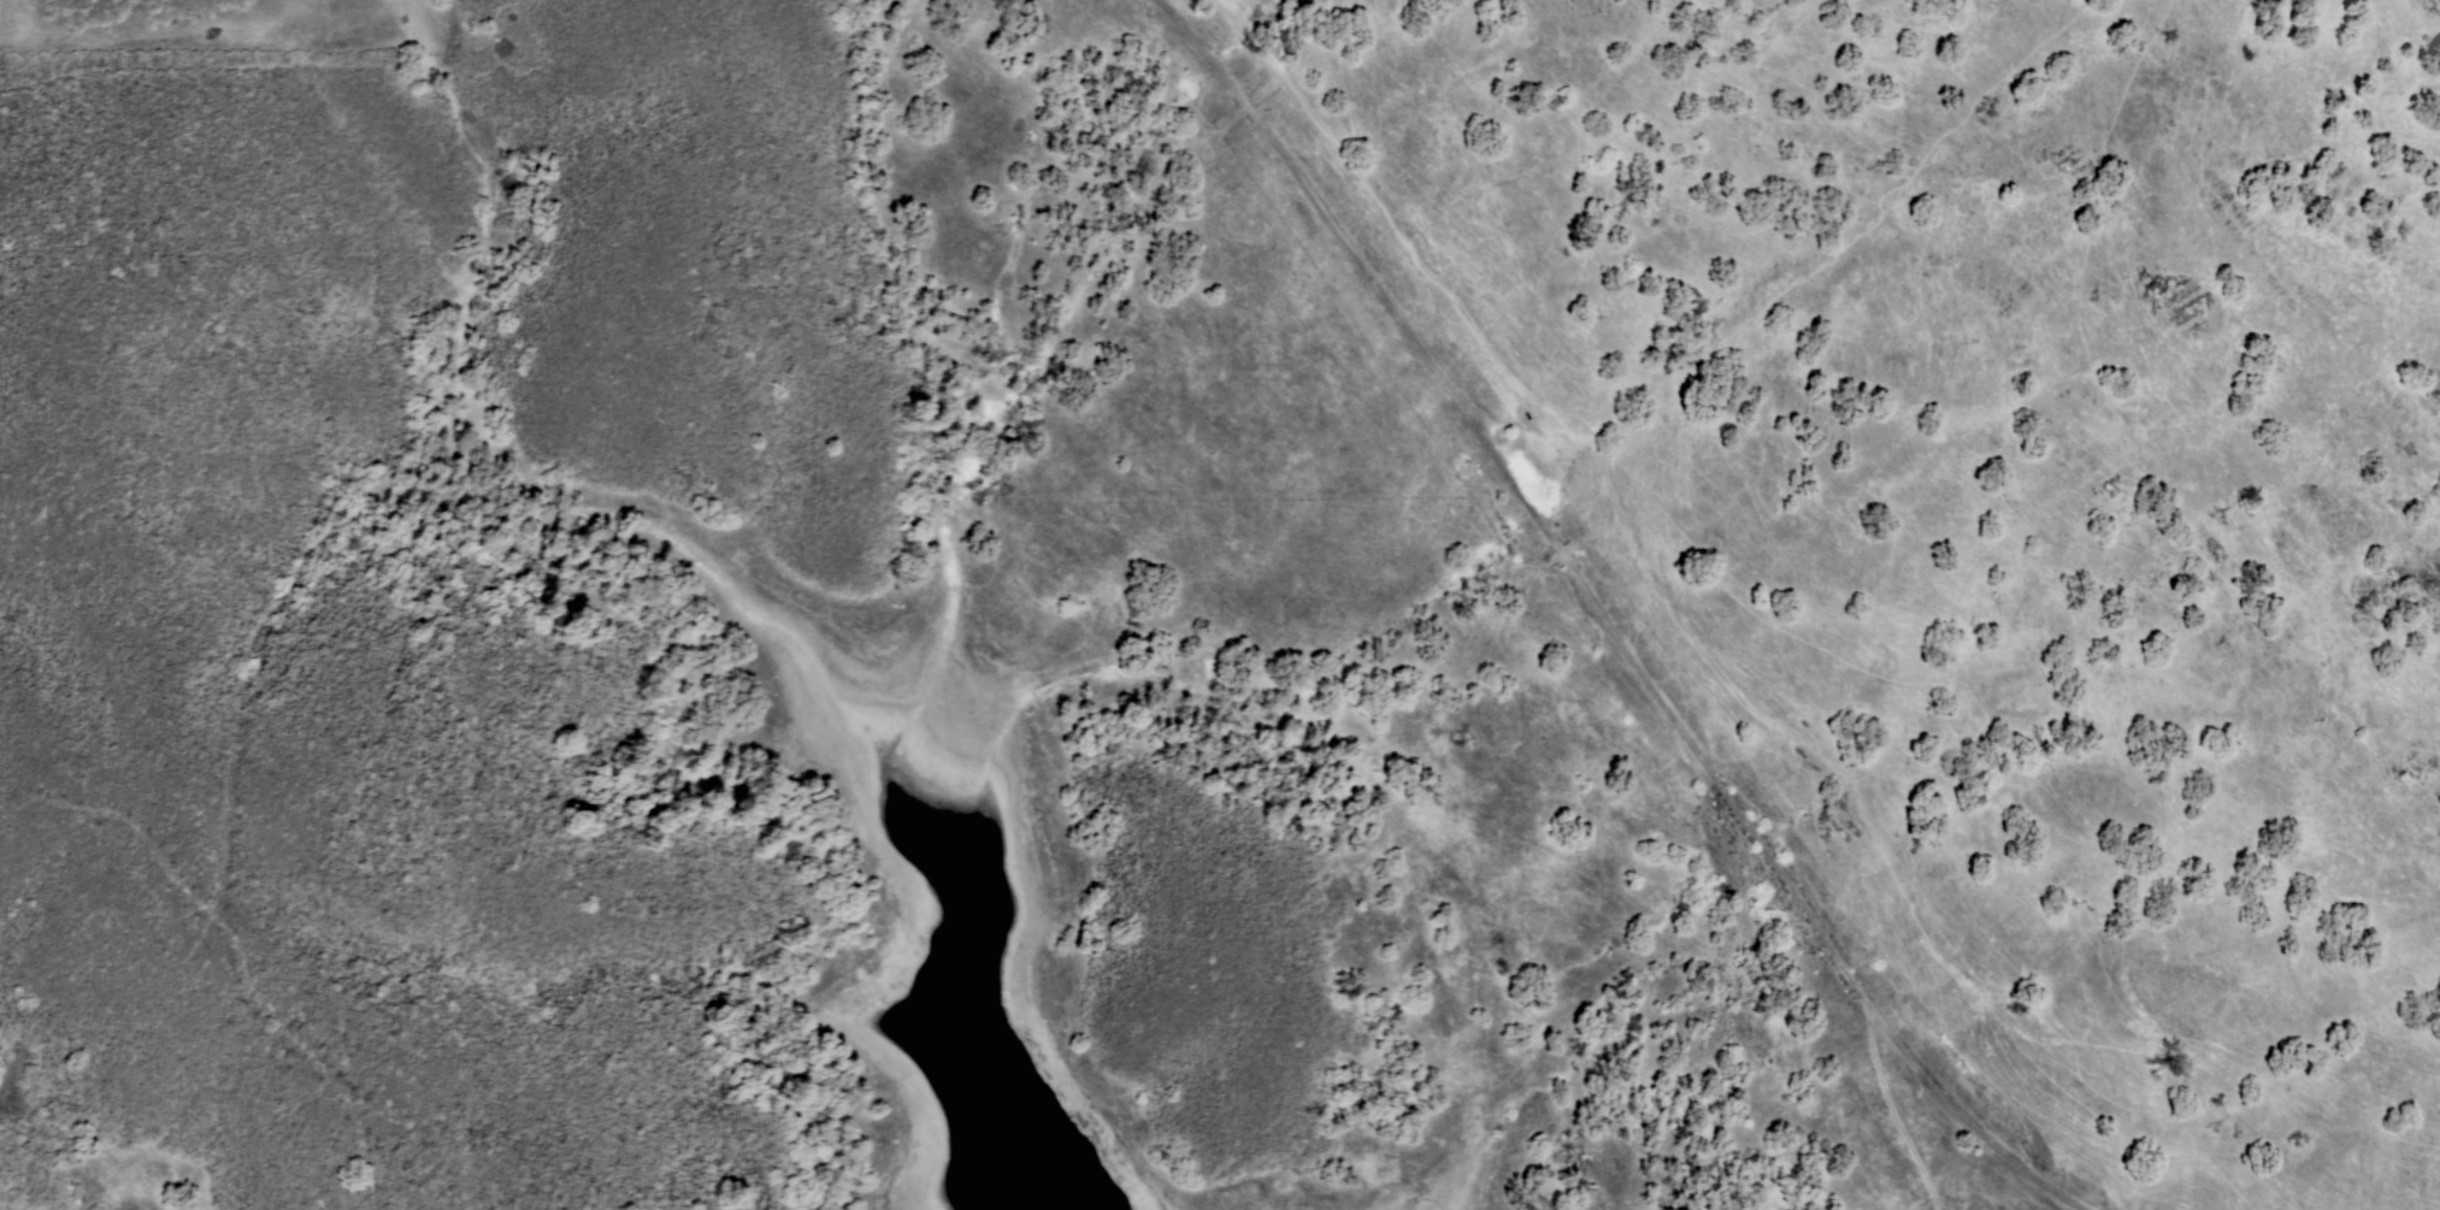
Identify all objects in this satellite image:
road: (1615, 621)

